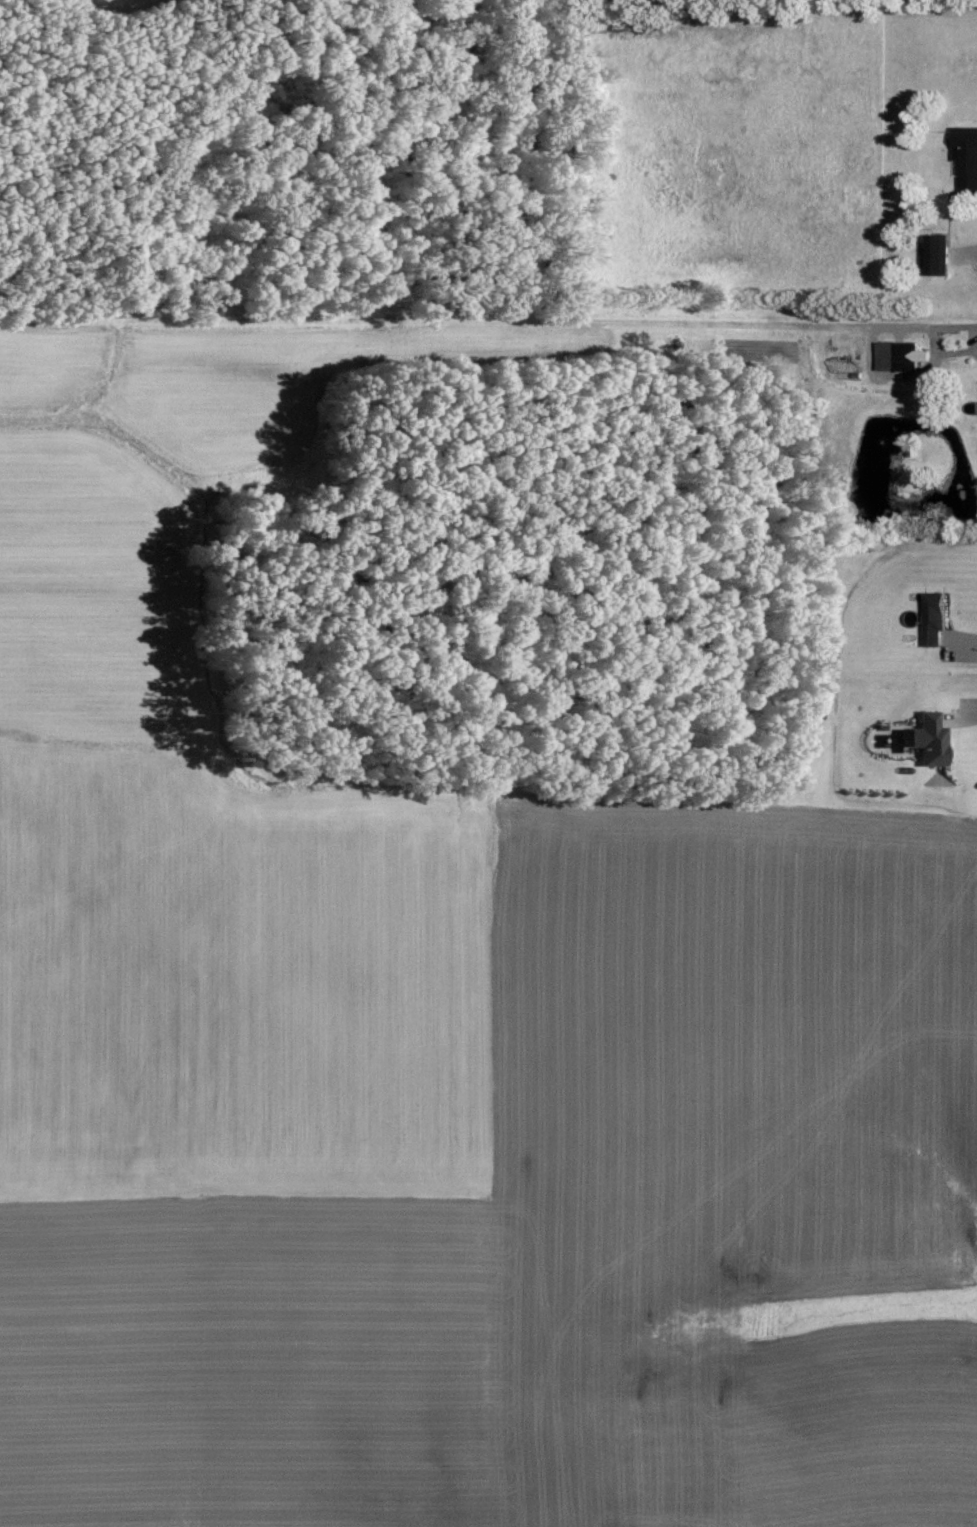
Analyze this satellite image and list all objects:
building: (967, 156)
building: (939, 254)
road: (955, 326)
road: (958, 352)
building: (899, 355)
road: (874, 371)
building: (936, 617)
road: (965, 641)
road: (967, 722)
building: (932, 739)

